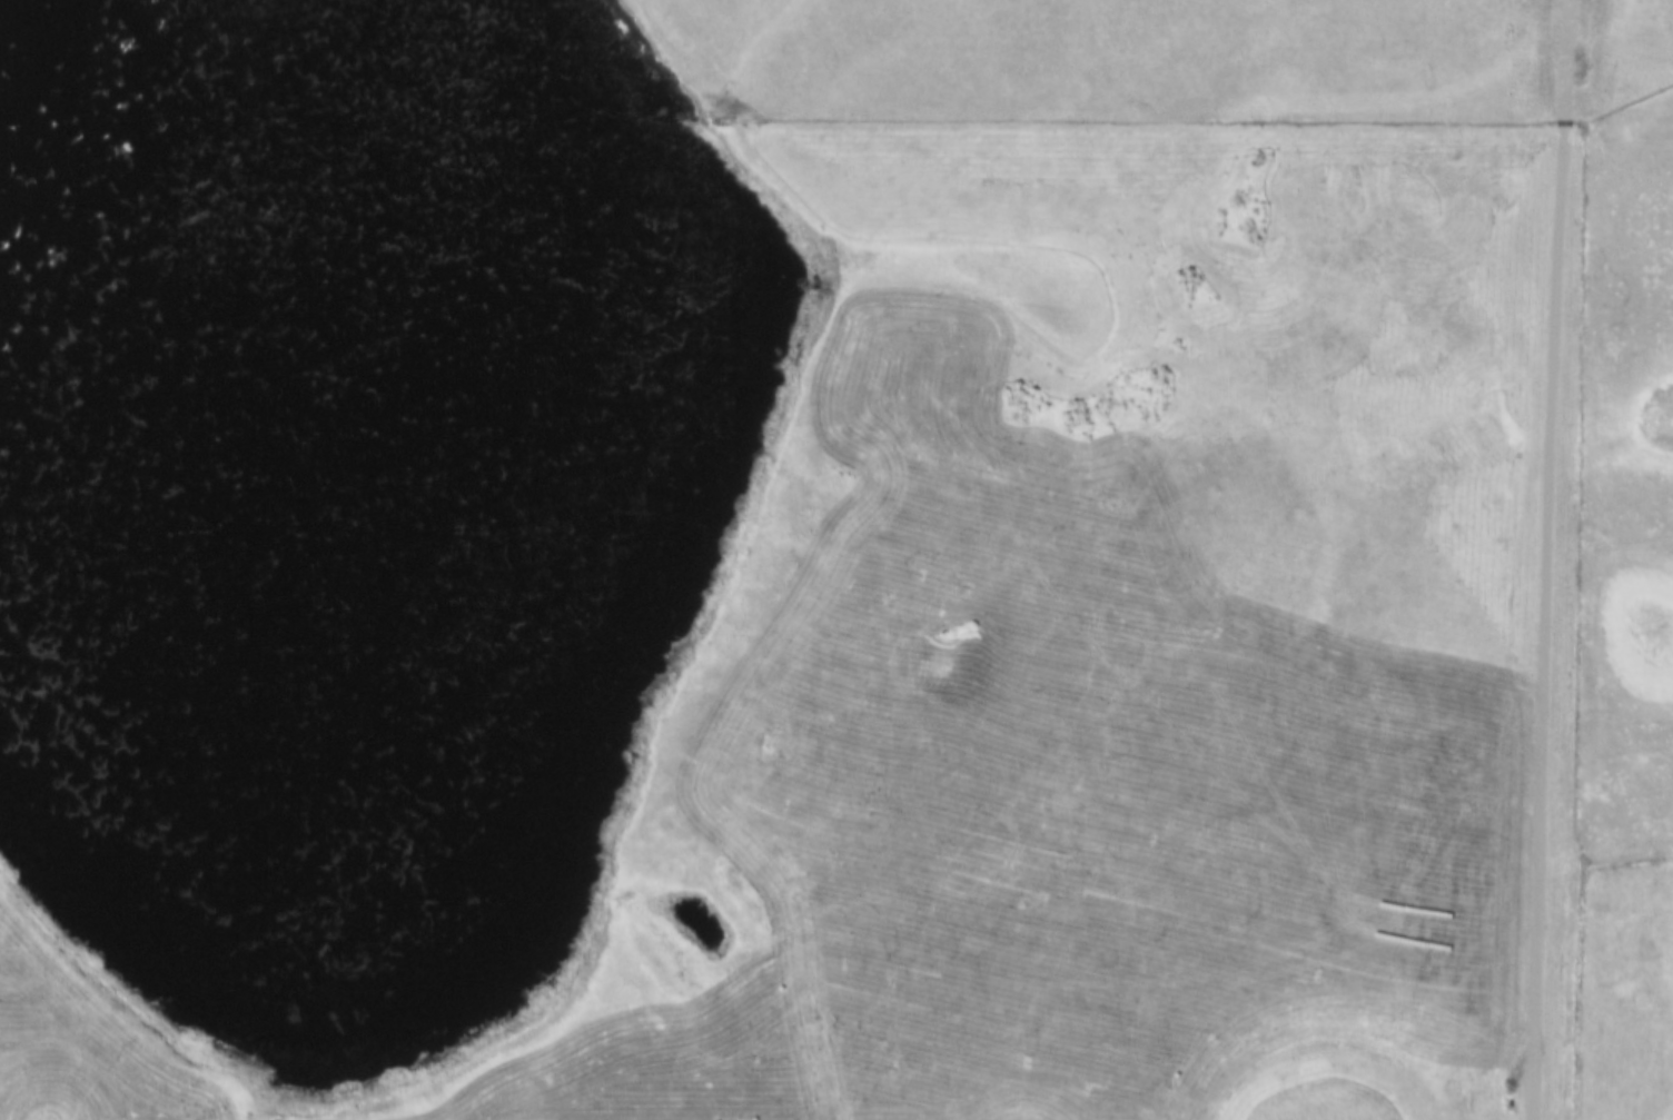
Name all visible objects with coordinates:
road: (1545, 559)

